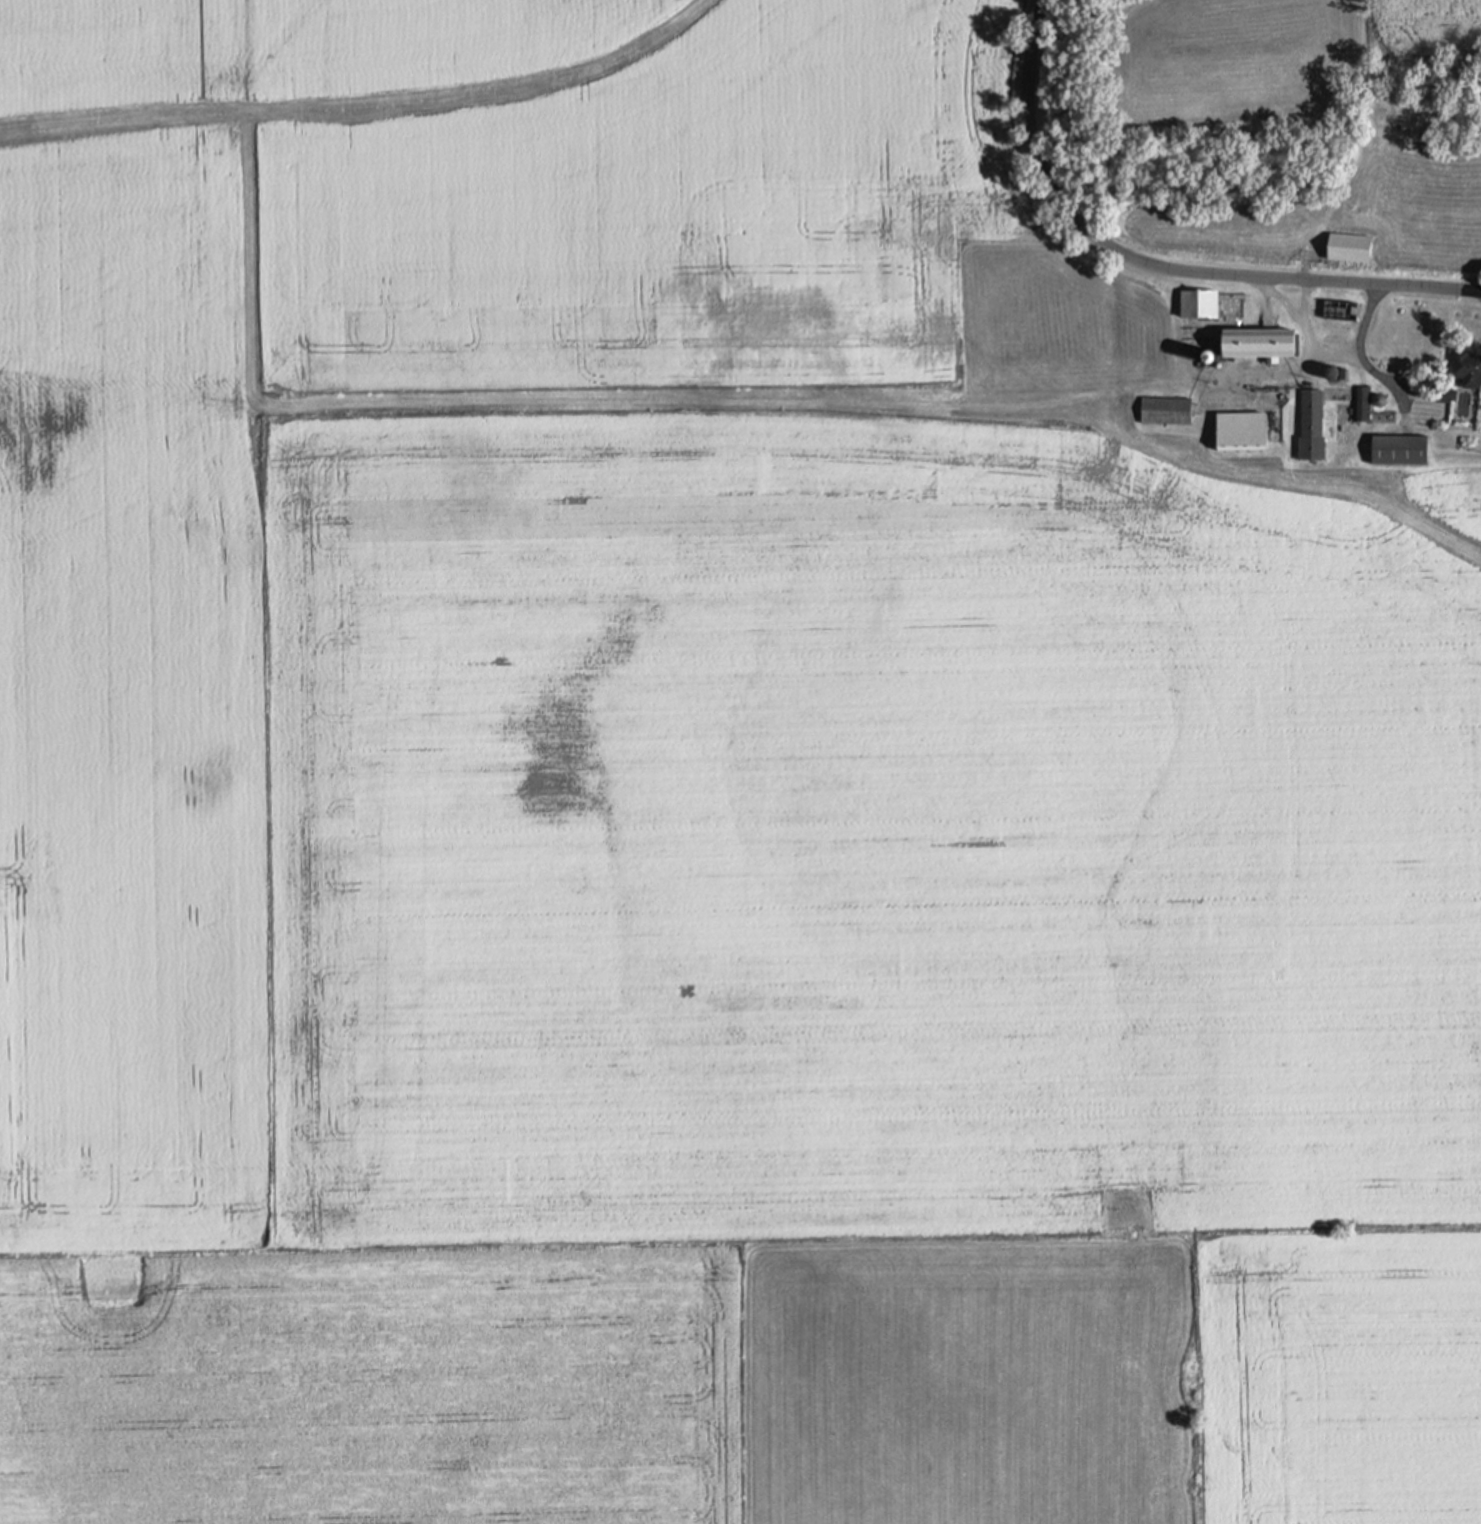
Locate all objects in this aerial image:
building: (1347, 248)
road: (1155, 265)
road: (1303, 304)
building: (1194, 305)
building: (1335, 311)
road: (1302, 330)
building: (1255, 345)
building: (1200, 358)
silo: (1200, 358)
road: (1363, 363)
building: (1463, 368)
building: (1326, 373)
silo: (1326, 373)
building: (1440, 393)
building: (1378, 400)
silo: (1378, 400)
building: (1359, 403)
building: (1164, 412)
building: (1307, 429)
building: (1238, 431)
building: (1398, 450)

